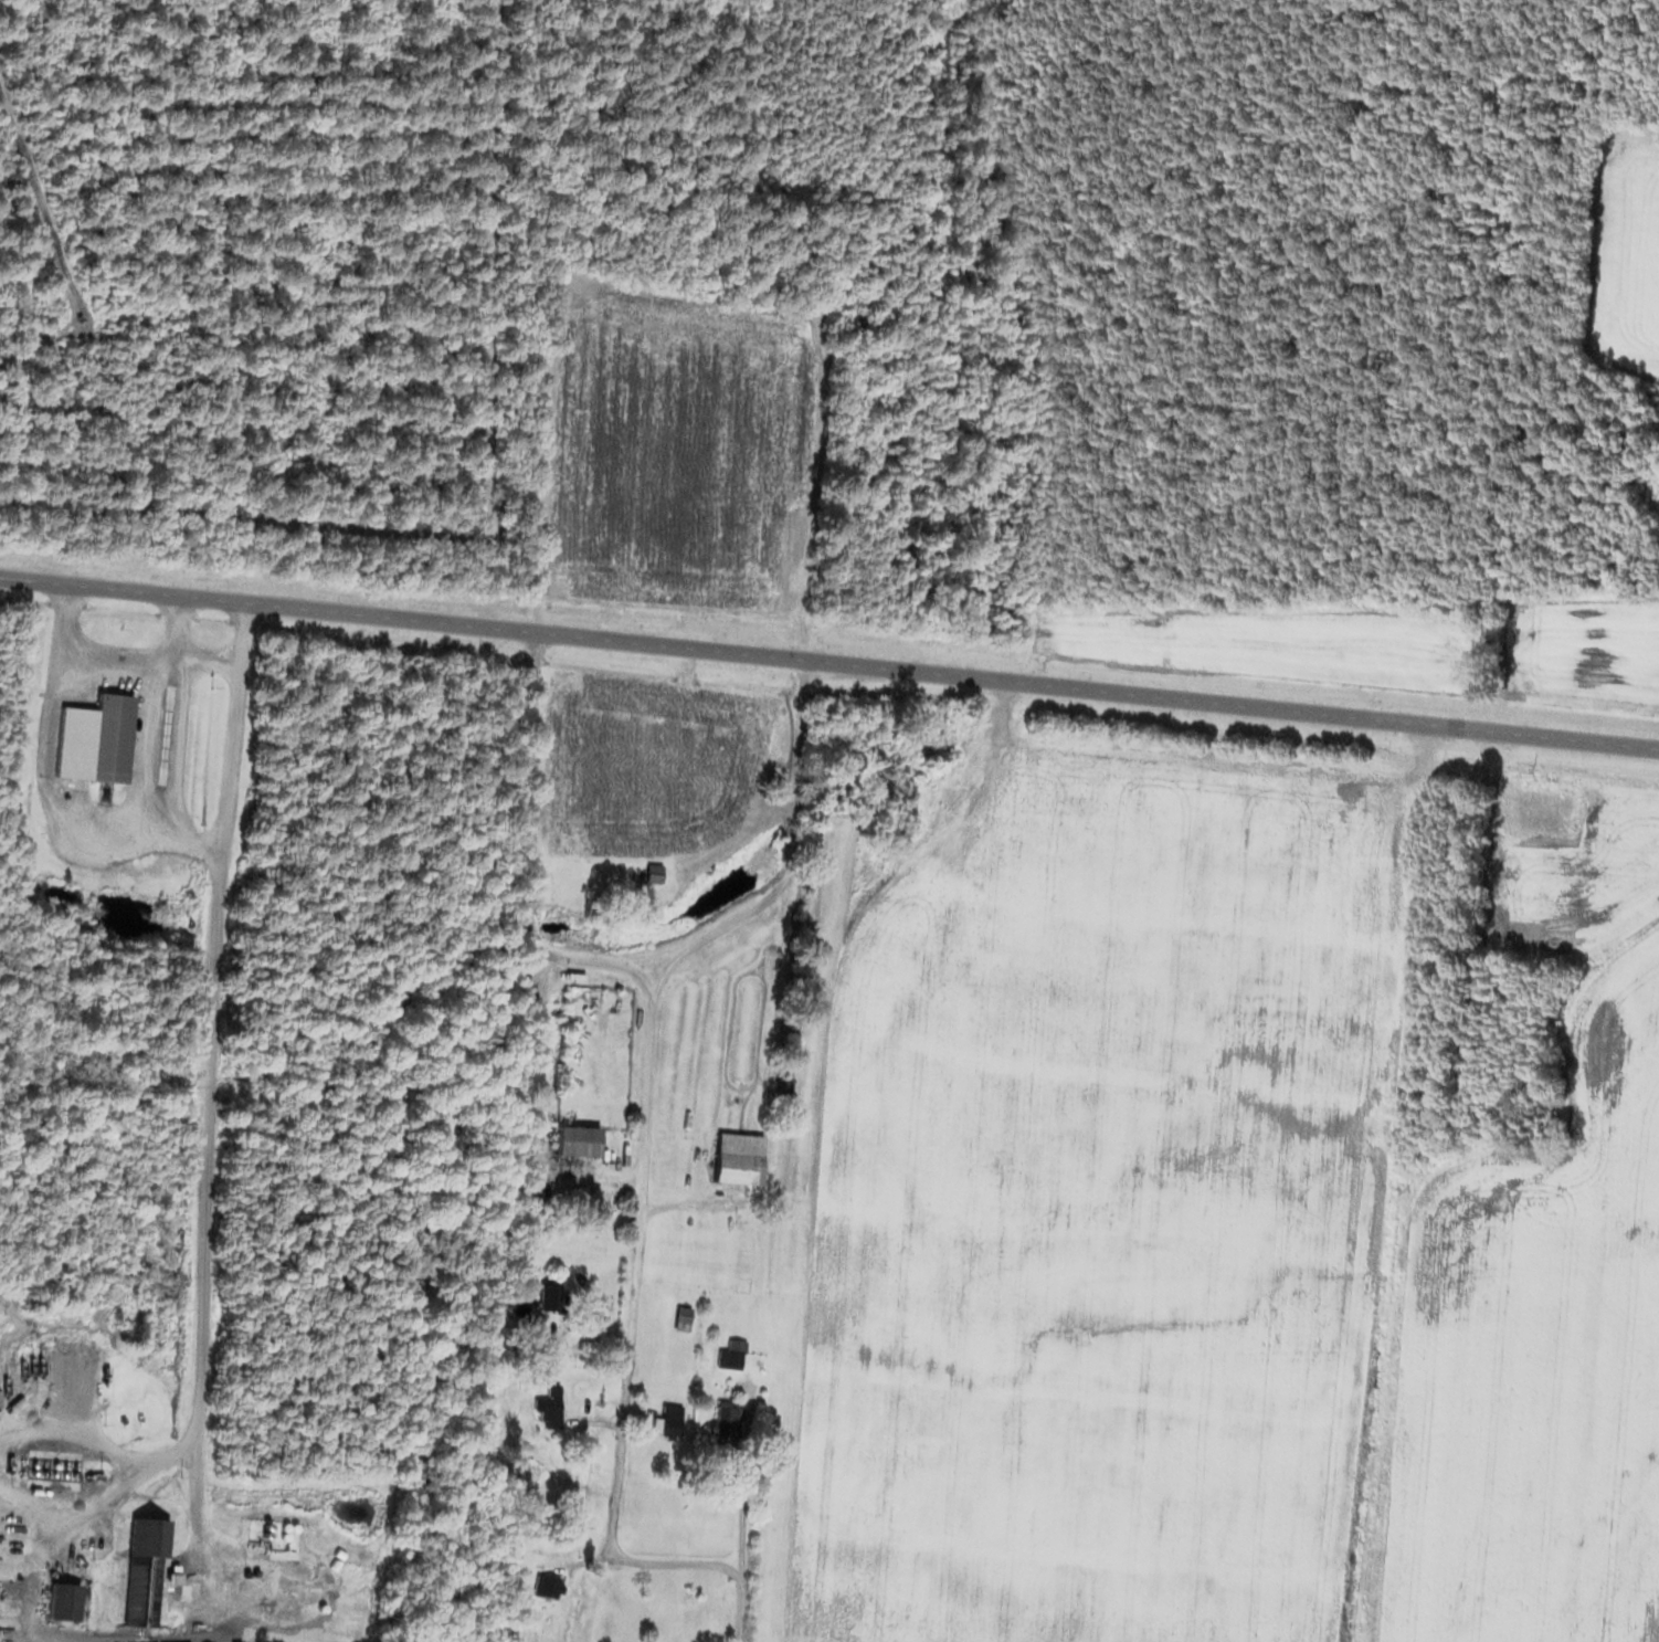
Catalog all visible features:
road: (176, 629)
road: (151, 661)
road: (828, 663)
building: (107, 736)
road: (146, 750)
road: (135, 839)
road: (530, 855)
building: (651, 871)
road: (533, 1102)
road: (640, 1134)
building: (573, 1139)
building: (736, 1157)
road: (200, 1168)
road: (687, 1202)
building: (679, 1317)
building: (729, 1354)
building: (547, 1406)
building: (668, 1420)
building: (726, 1423)
road: (71, 1424)
road: (65, 1504)
road: (194, 1506)
road: (740, 1508)
building: (131, 1571)
building: (546, 1585)
building: (61, 1600)

